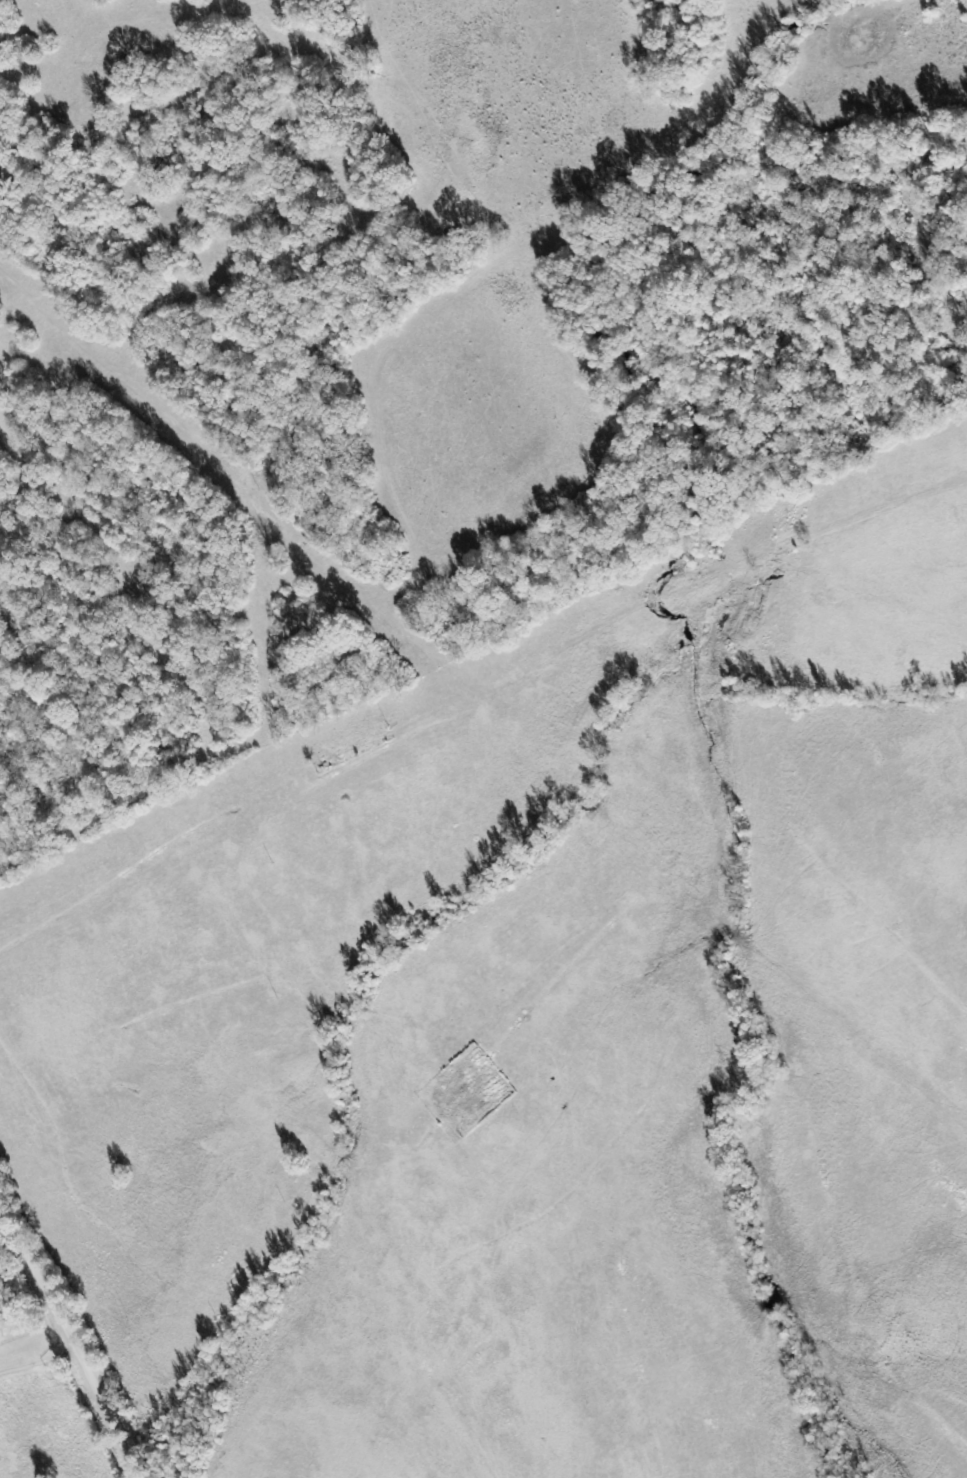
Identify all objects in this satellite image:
road: (745, 174)
road: (419, 664)
road: (483, 672)
road: (71, 1338)

